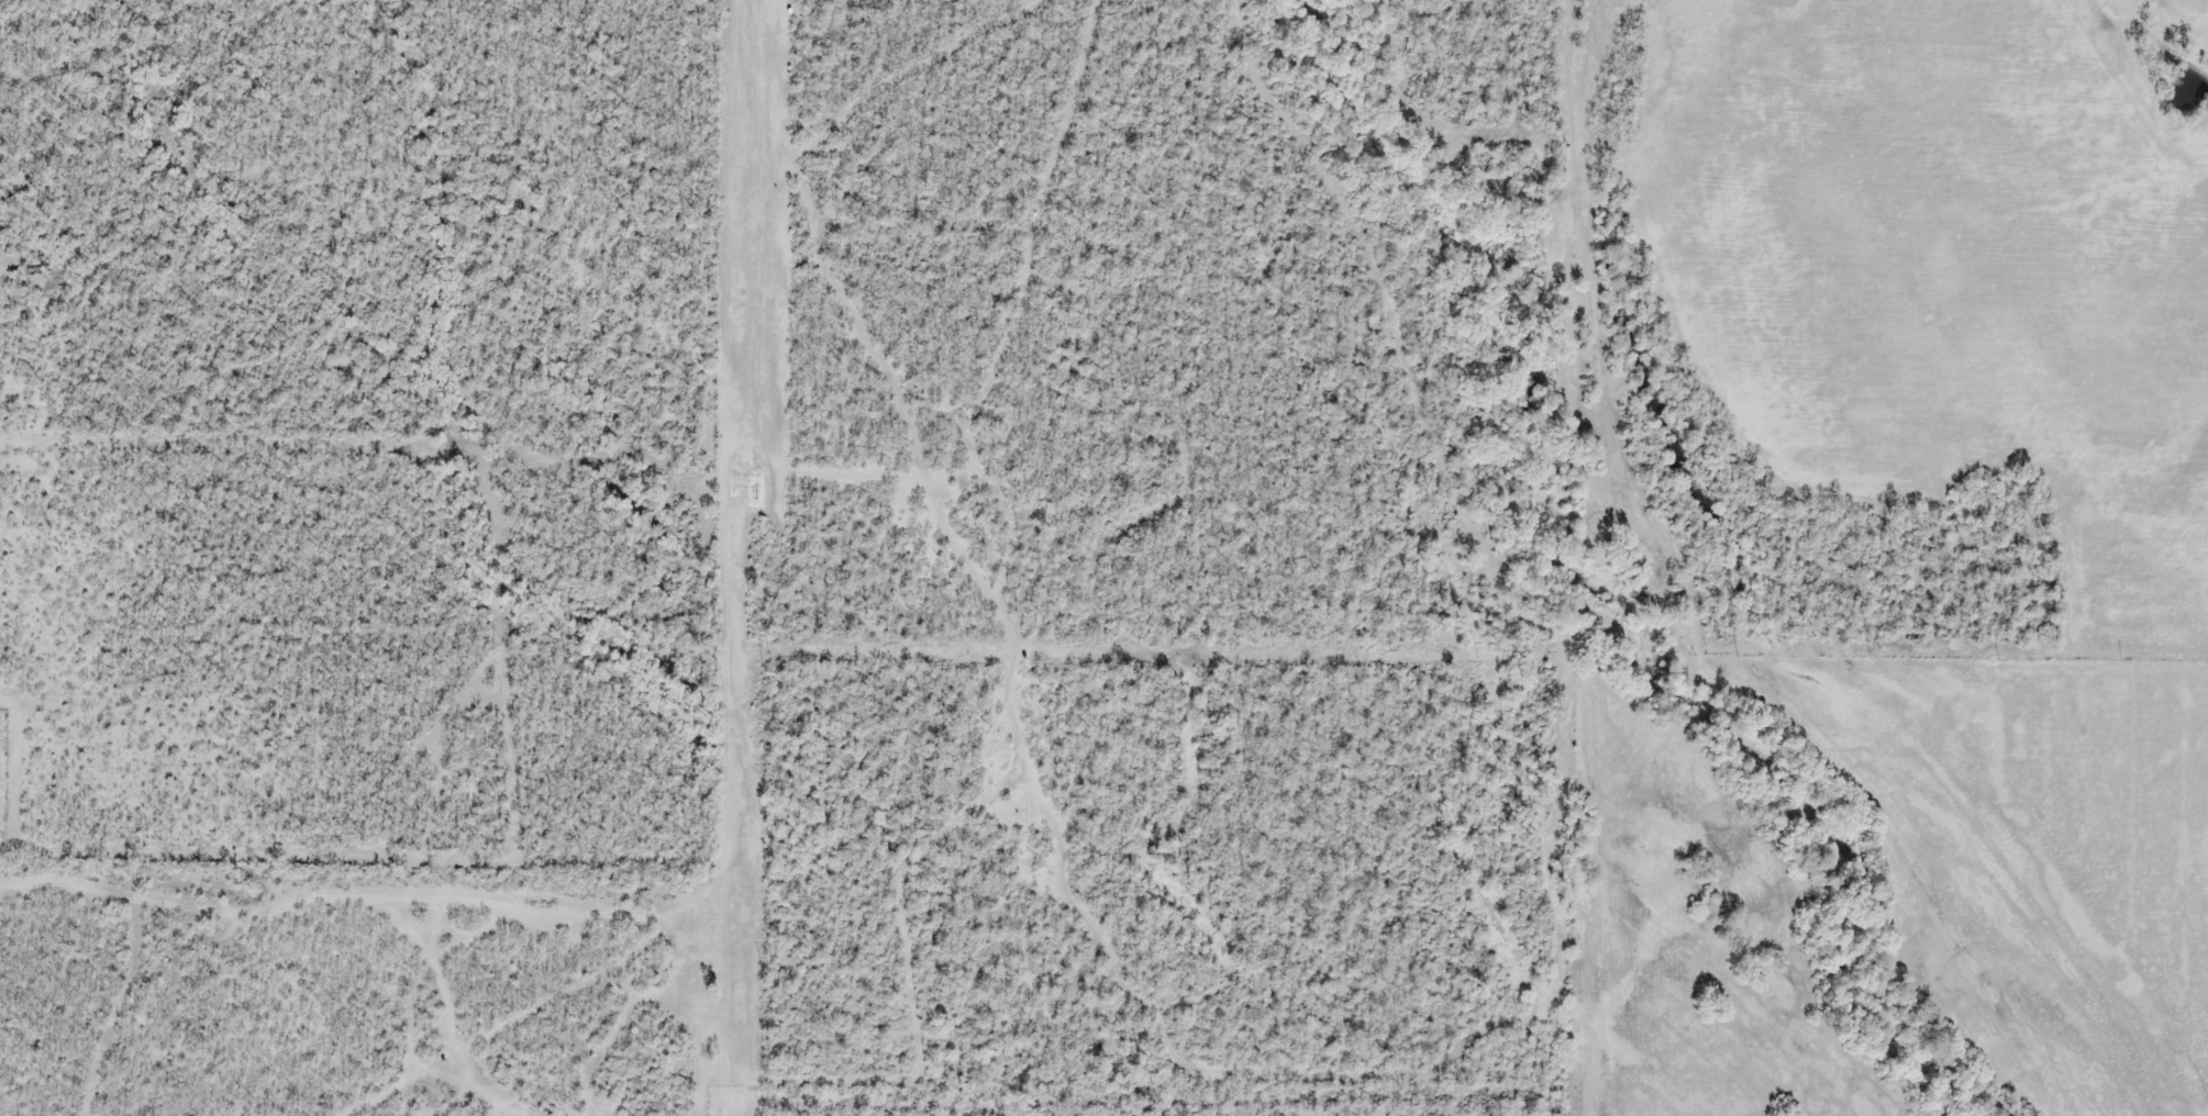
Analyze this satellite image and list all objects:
park: (2, 784)

